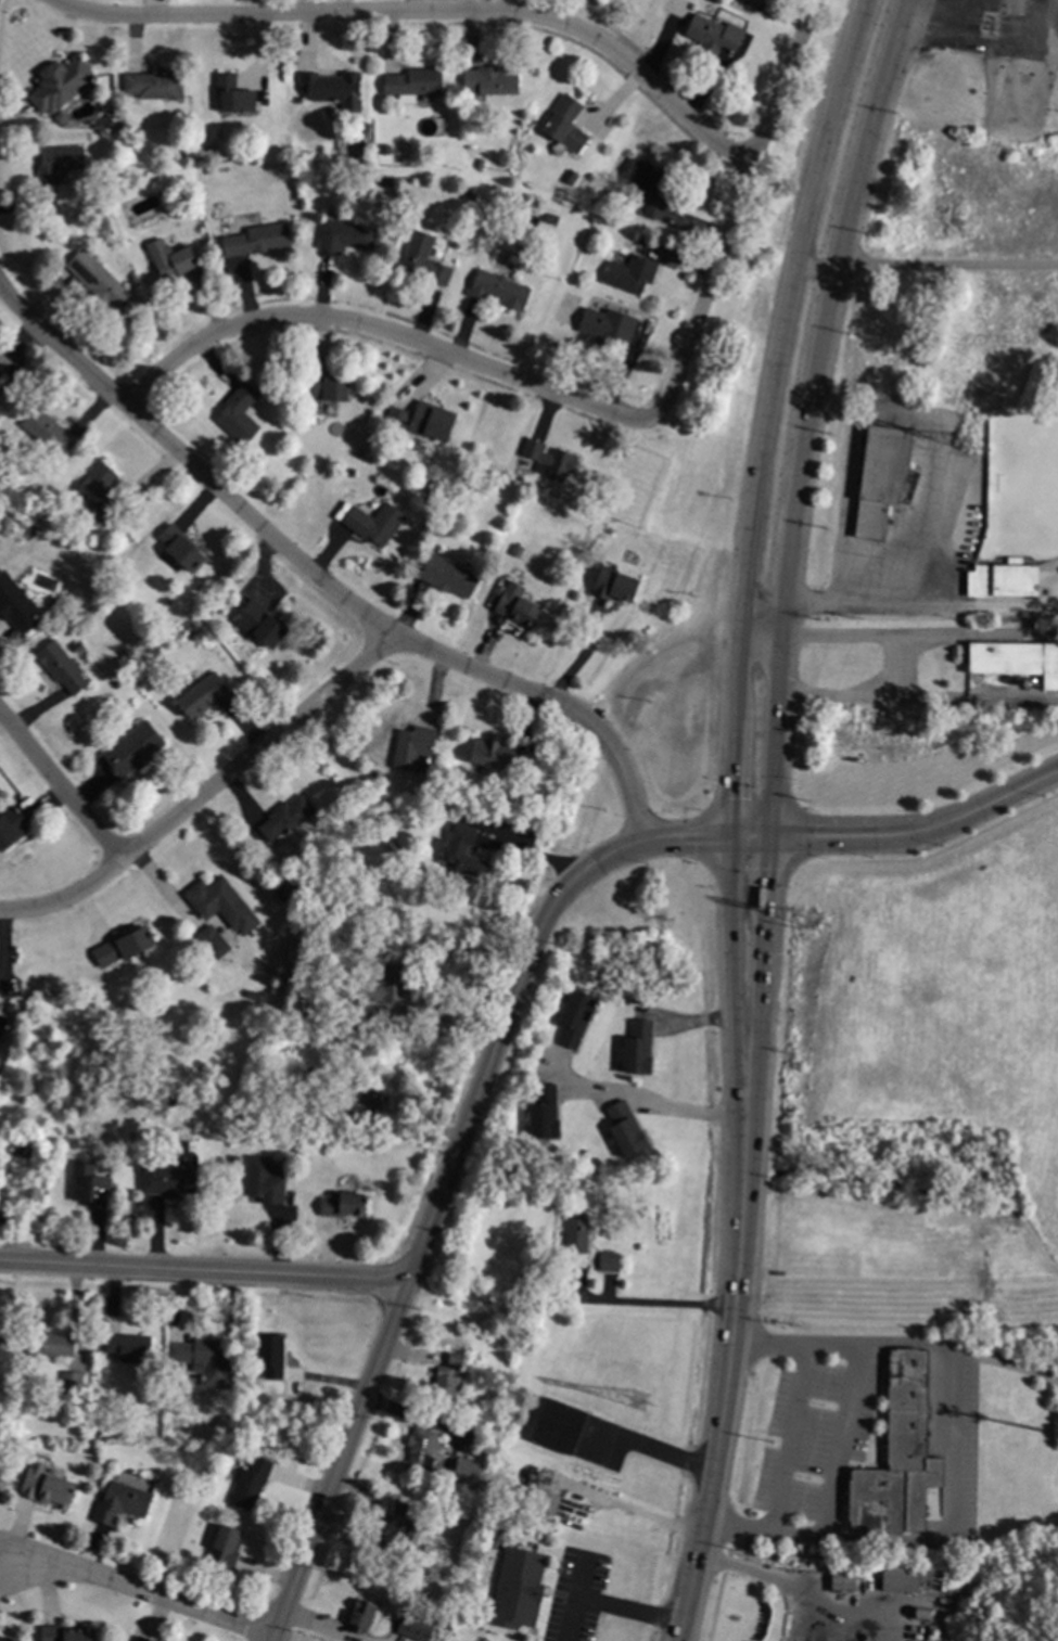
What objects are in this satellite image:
road: (422, 15)
building: (712, 36)
road: (983, 39)
building: (489, 81)
building: (412, 82)
building: (59, 85)
building: (151, 86)
building: (329, 93)
building: (233, 95)
building: (564, 124)
road: (866, 132)
building: (53, 165)
building: (650, 187)
road: (735, 214)
building: (344, 236)
building: (257, 240)
building: (168, 257)
building: (424, 261)
road: (814, 266)
road: (945, 267)
building: (629, 273)
building: (93, 275)
building: (498, 289)
building: (606, 324)
road: (375, 330)
building: (0, 374)
building: (327, 386)
building: (238, 413)
building: (419, 421)
building: (49, 433)
power tower: (965, 447)
building: (552, 461)
building: (880, 476)
building: (101, 491)
building: (374, 524)
building: (181, 549)
road: (745, 554)
building: (447, 576)
building: (1000, 580)
road: (329, 584)
building: (614, 585)
building: (15, 604)
road: (865, 604)
building: (515, 605)
building: (259, 624)
road: (760, 632)
road: (918, 638)
building: (1016, 659)
building: (59, 668)
road: (888, 669)
road: (776, 692)
building: (201, 695)
road: (916, 701)
building: (412, 748)
building: (128, 752)
building: (500, 756)
road: (60, 785)
road: (203, 791)
building: (284, 818)
building: (13, 824)
road: (920, 831)
building: (462, 848)
building: (282, 889)
building: (221, 905)
power tower: (814, 923)
building: (211, 944)
building: (122, 947)
building: (383, 988)
building: (573, 1018)
building: (637, 1048)
road: (639, 1099)
building: (366, 1103)
building: (541, 1113)
building: (624, 1129)
road: (451, 1159)
building: (170, 1177)
building: (263, 1180)
building: (88, 1185)
building: (343, 1205)
building: (7, 1215)
building: (575, 1232)
building: (607, 1261)
road: (202, 1271)
road: (648, 1306)
building: (522, 1331)
building: (49, 1345)
building: (127, 1347)
building: (269, 1355)
building: (202, 1359)
building: (454, 1359)
road: (725, 1382)
building: (71, 1384)
building: (444, 1384)
power tower: (638, 1402)
building: (557, 1425)
building: (92, 1433)
road: (789, 1440)
road: (841, 1444)
building: (419, 1449)
road: (655, 1452)
building: (896, 1456)
road: (947, 1460)
building: (461, 1470)
building: (442, 1473)
building: (248, 1483)
building: (44, 1487)
building: (119, 1502)
building: (397, 1530)
building: (224, 1546)
building: (898, 1577)
building: (840, 1579)
road: (581, 1581)
building: (515, 1587)
road: (800, 1588)
road: (135, 1594)
road: (608, 1608)
building: (360, 1615)
building: (413, 1625)
road: (320, 1627)
building: (66, 1633)
building: (9, 1639)
building: (142, 1639)

